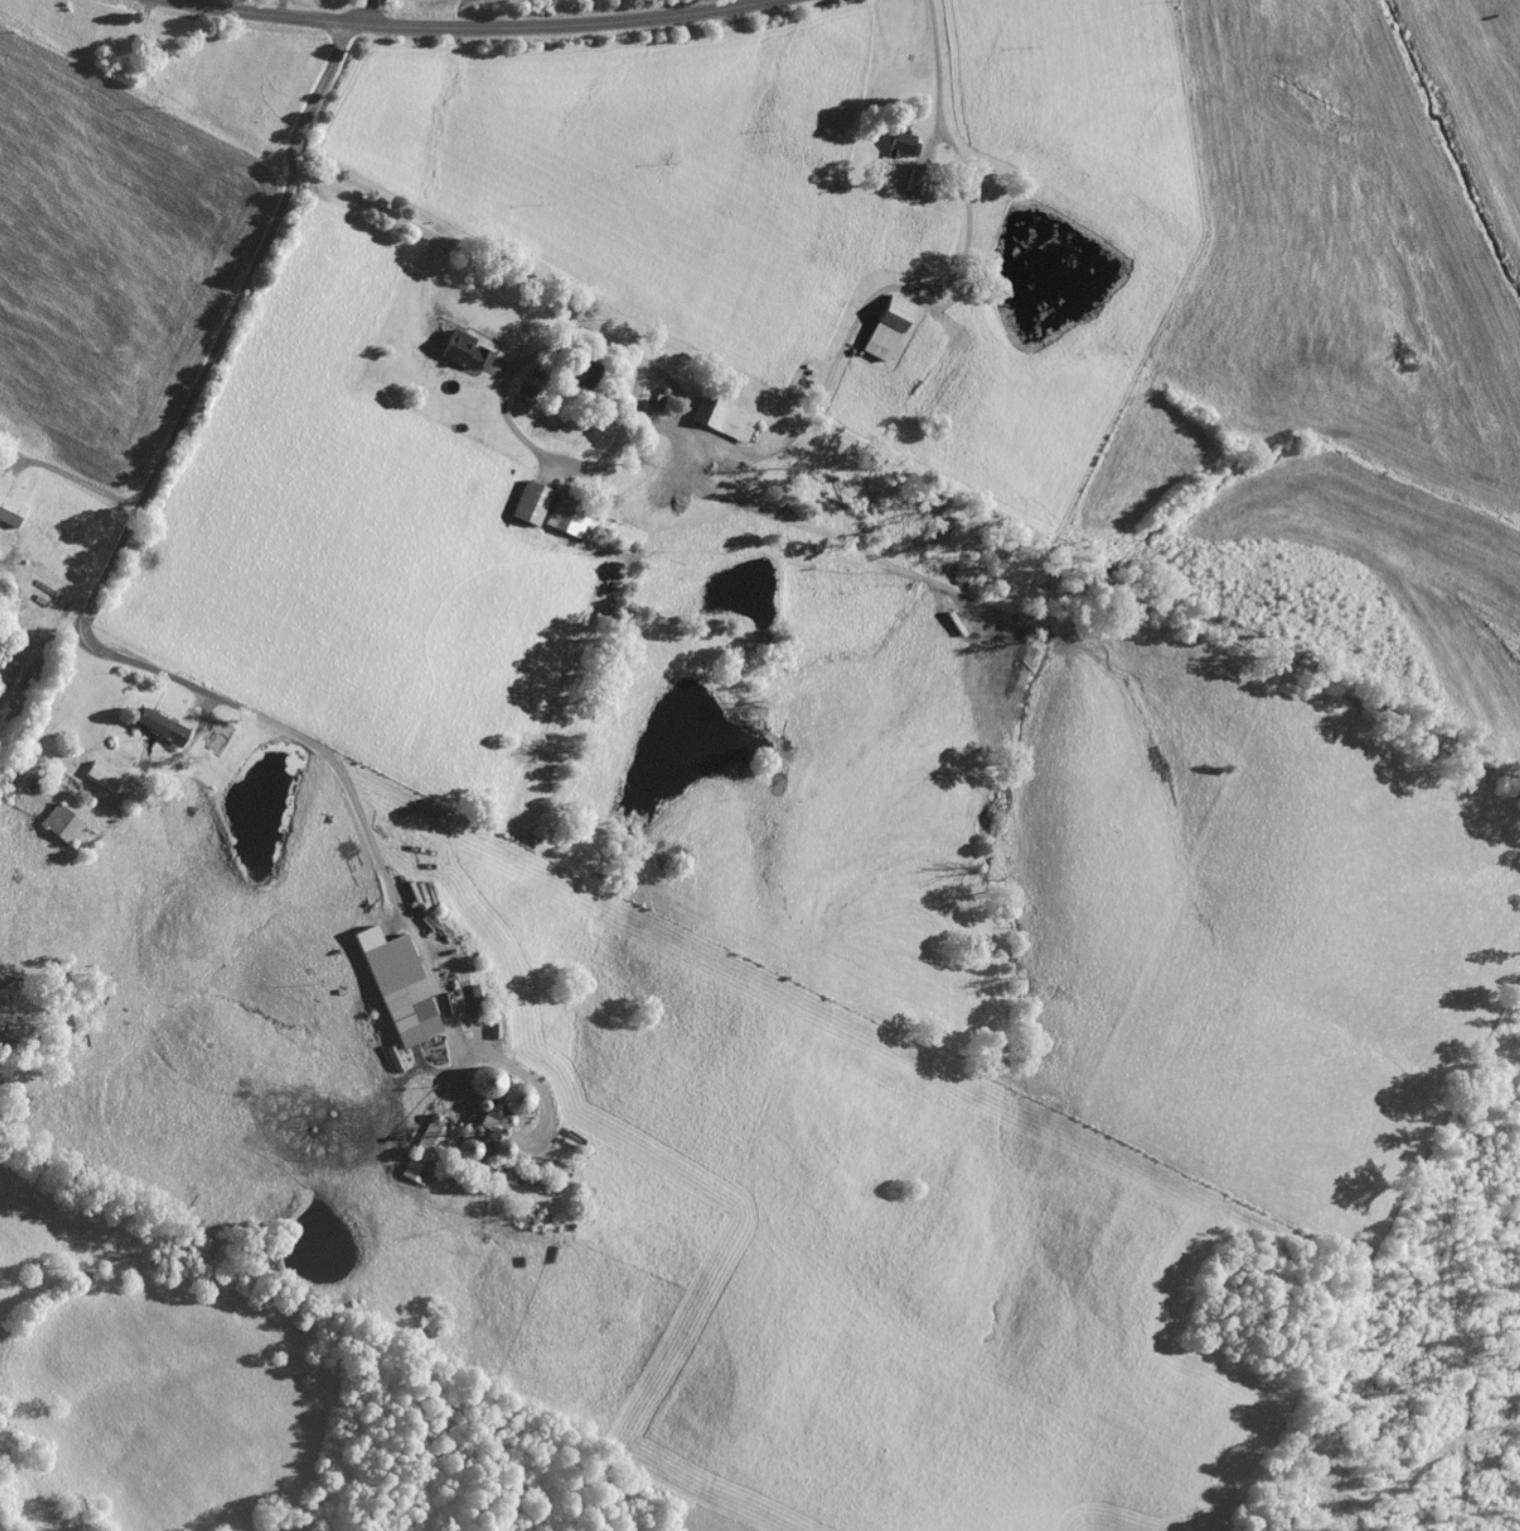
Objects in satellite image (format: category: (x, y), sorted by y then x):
road: (366, 10)
road: (473, 25)
road: (317, 92)
building: (902, 141)
building: (915, 178)
road: (437, 235)
building: (895, 310)
building: (460, 346)
building: (583, 368)
building: (541, 369)
building: (620, 386)
building: (660, 397)
building: (724, 415)
road: (93, 486)
building: (531, 499)
building: (10, 509)
building: (572, 515)
road: (121, 656)
building: (12, 680)
building: (162, 723)
building: (223, 723)
building: (103, 773)
building: (63, 821)
building: (402, 987)
silo: (486, 1080)
silo: (515, 1096)
silo: (482, 1103)
building: (490, 1112)
silo: (506, 1118)
silo: (474, 1128)
silo: (491, 1135)
silo: (466, 1147)
silo: (501, 1147)
building: (425, 1150)

